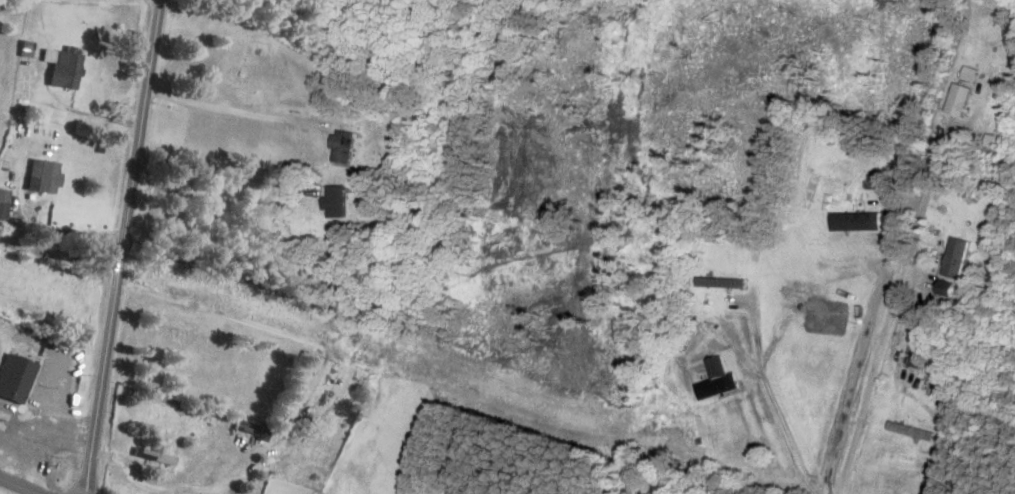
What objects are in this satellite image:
building: (63, 67)
building: (960, 99)
road: (233, 110)
road: (85, 112)
building: (344, 145)
road: (226, 168)
road: (933, 175)
building: (43, 176)
building: (336, 201)
building: (3, 202)
building: (858, 219)
road: (66, 231)
road: (121, 246)
building: (958, 255)
road: (59, 256)
building: (948, 286)
building: (916, 354)
road: (849, 355)
road: (884, 364)
building: (13, 378)
building: (719, 378)
road: (472, 379)
road: (38, 442)
building: (148, 451)
road: (13, 488)
road: (184, 489)

